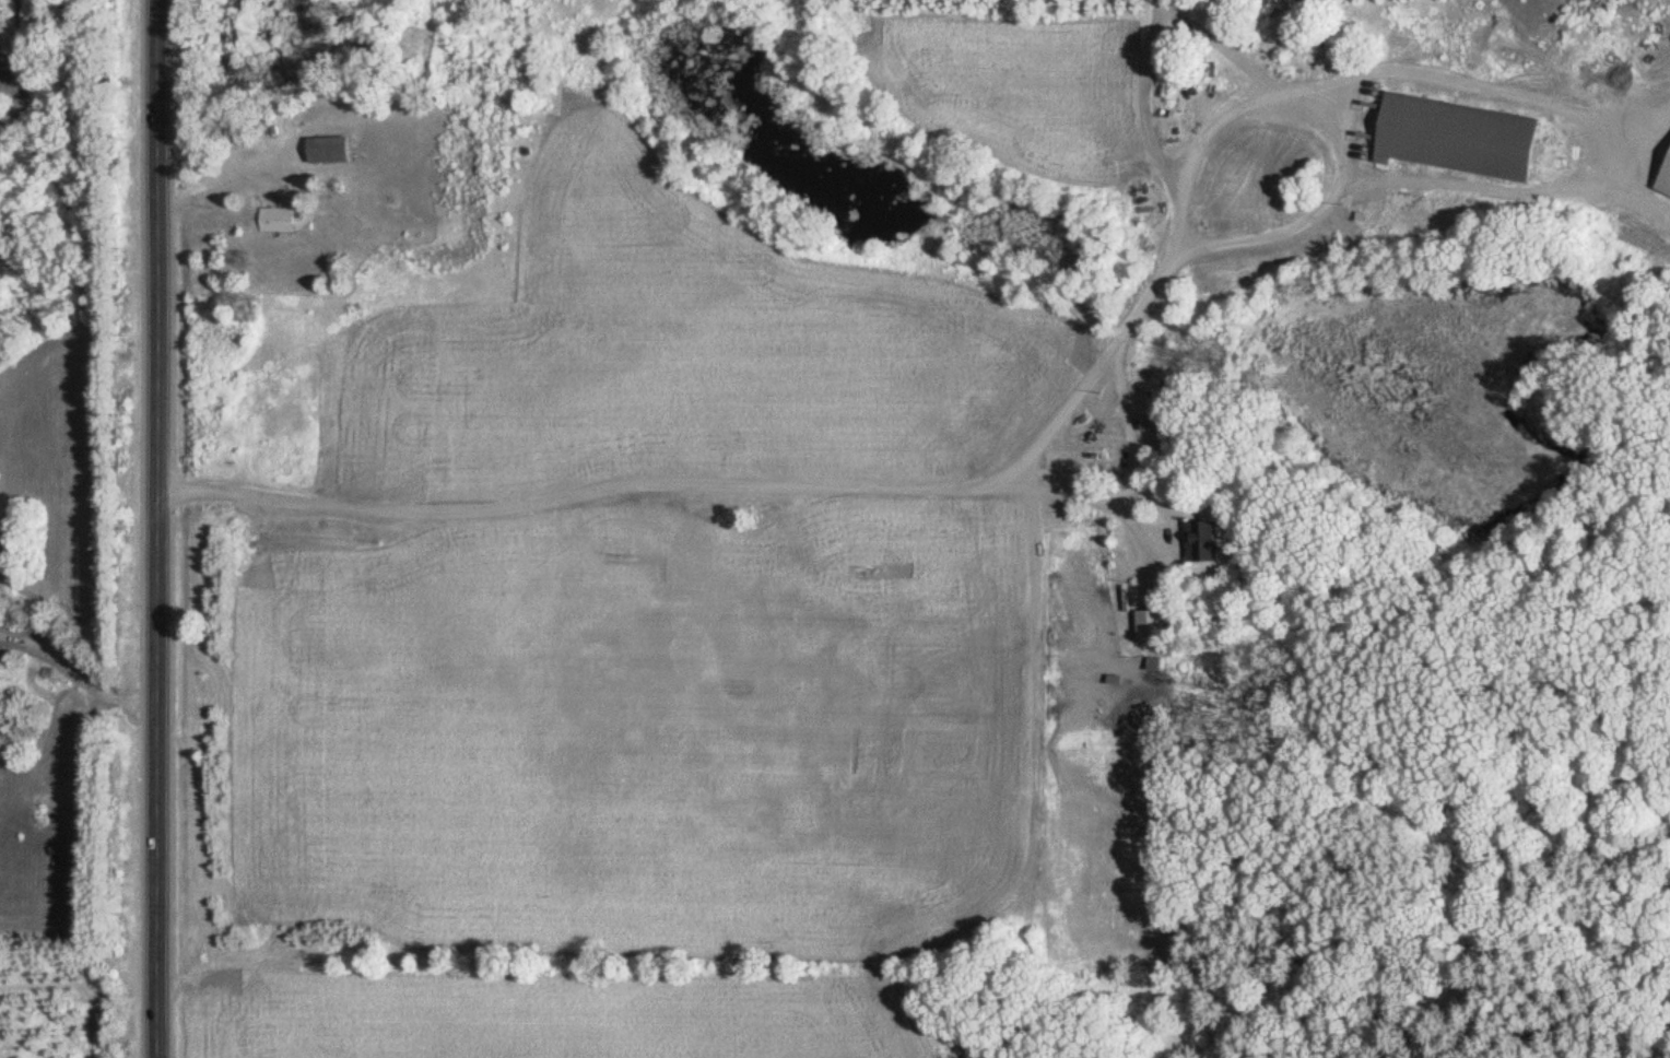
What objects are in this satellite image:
quarry: (1567, 16)
building: (1461, 136)
building: (331, 149)
building: (277, 219)
building: (1163, 447)
road: (599, 482)
road: (156, 528)
building: (1152, 626)

